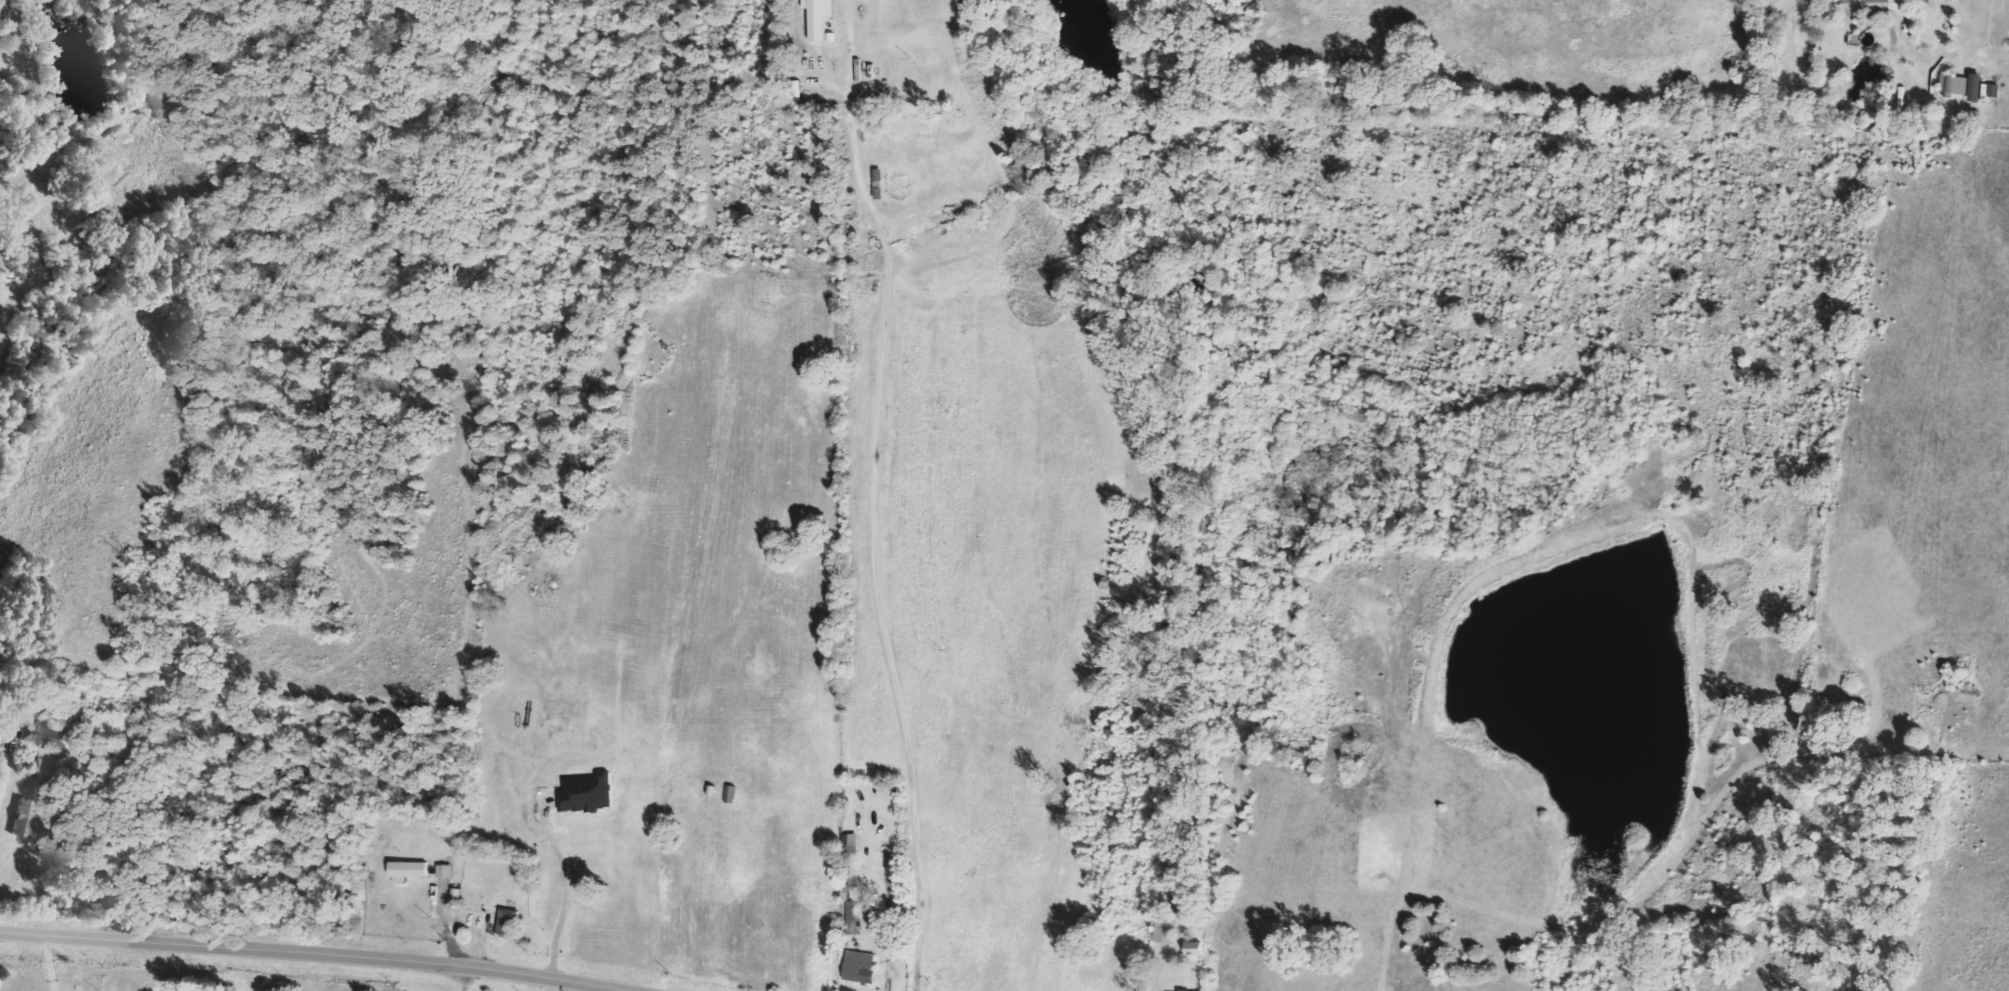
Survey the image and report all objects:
building: (1870, 6)
building: (815, 17)
building: (1961, 85)
building: (1989, 89)
building: (795, 90)
road: (848, 148)
road: (867, 448)
building: (41, 734)
building: (22, 819)
building: (849, 843)
building: (405, 871)
building: (444, 871)
building: (844, 892)
building: (850, 913)
building: (507, 924)
building: (1163, 931)
building: (1192, 949)
road: (317, 953)
building: (858, 967)

